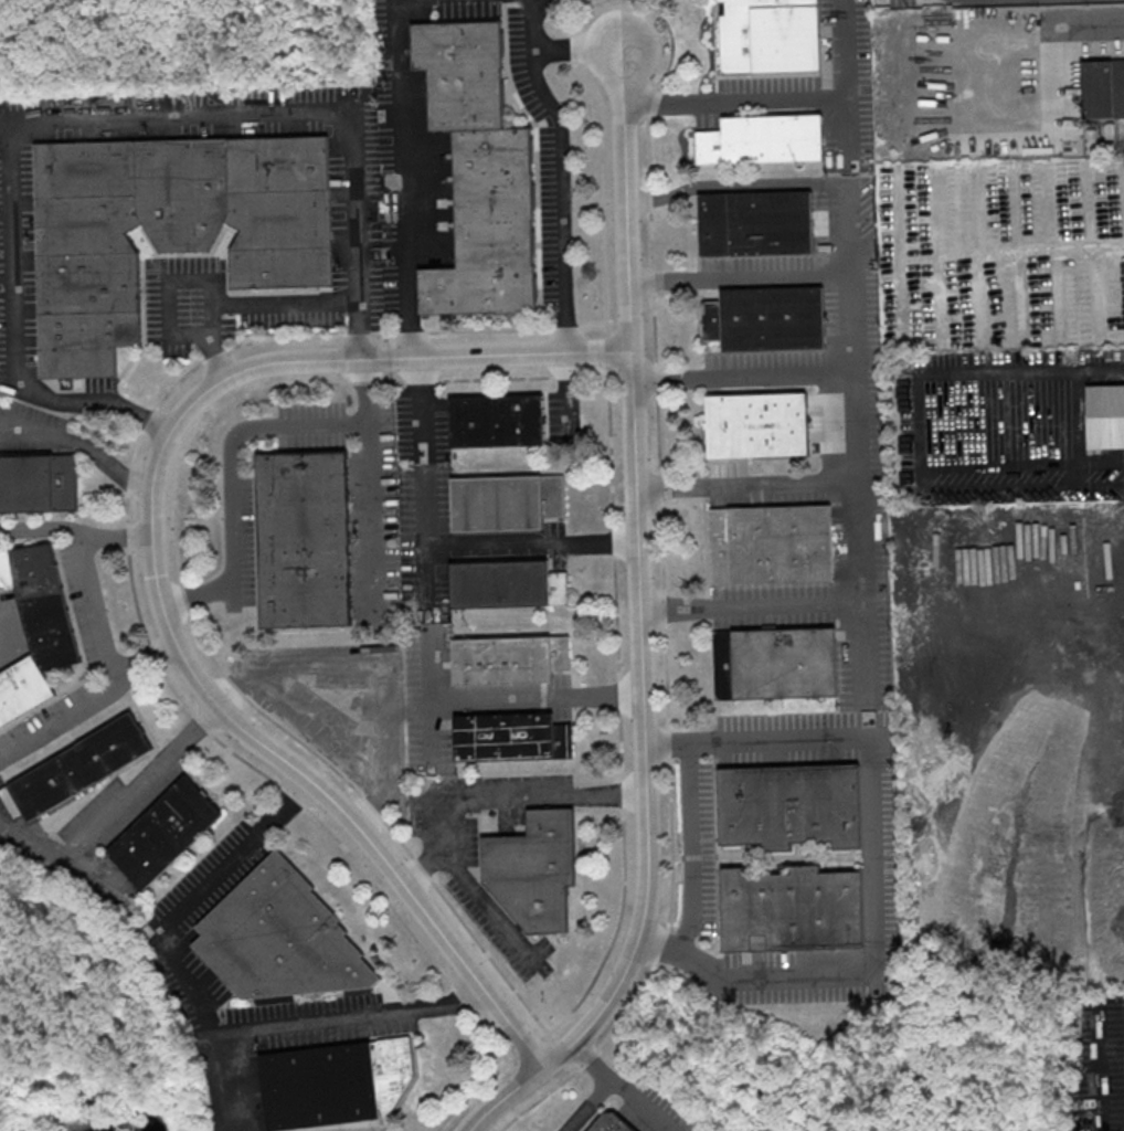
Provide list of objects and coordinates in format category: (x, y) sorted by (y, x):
road: (1018, 2)
road: (1024, 21)
building: (767, 34)
road: (579, 47)
building: (1103, 87)
road: (778, 96)
road: (167, 115)
road: (844, 126)
building: (761, 137)
road: (564, 171)
building: (477, 172)
road: (405, 176)
road: (774, 182)
building: (754, 222)
building: (162, 228)
road: (1016, 255)
road: (165, 294)
building: (771, 317)
road: (852, 323)
road: (356, 327)
building: (1104, 414)
building: (495, 420)
building: (754, 423)
road: (918, 433)
road: (83, 441)
road: (229, 446)
road: (656, 452)
building: (36, 482)
road: (803, 482)
building: (502, 500)
road: (370, 517)
road: (609, 520)
road: (40, 533)
building: (301, 537)
road: (441, 542)
building: (767, 542)
road: (152, 574)
building: (503, 582)
road: (179, 584)
road: (97, 601)
road: (812, 604)
road: (637, 623)
building: (34, 624)
building: (506, 658)
building: (771, 662)
road: (868, 670)
road: (533, 697)
road: (426, 698)
road: (60, 706)
building: (508, 736)
building: (74, 765)
road: (147, 773)
road: (500, 792)
building: (786, 804)
building: (161, 831)
road: (690, 849)
road: (877, 863)
building: (537, 874)
road: (194, 895)
road: (483, 898)
building: (787, 908)
building: (277, 937)
road: (659, 943)
road: (632, 1008)
road: (300, 1018)
road: (524, 1044)
road: (587, 1058)
building: (331, 1081)
road: (618, 1088)
road: (471, 1091)
road: (536, 1098)
road: (586, 1104)
road: (483, 1121)
building: (607, 1122)
river: (119, 1124)
road: (490, 1129)

